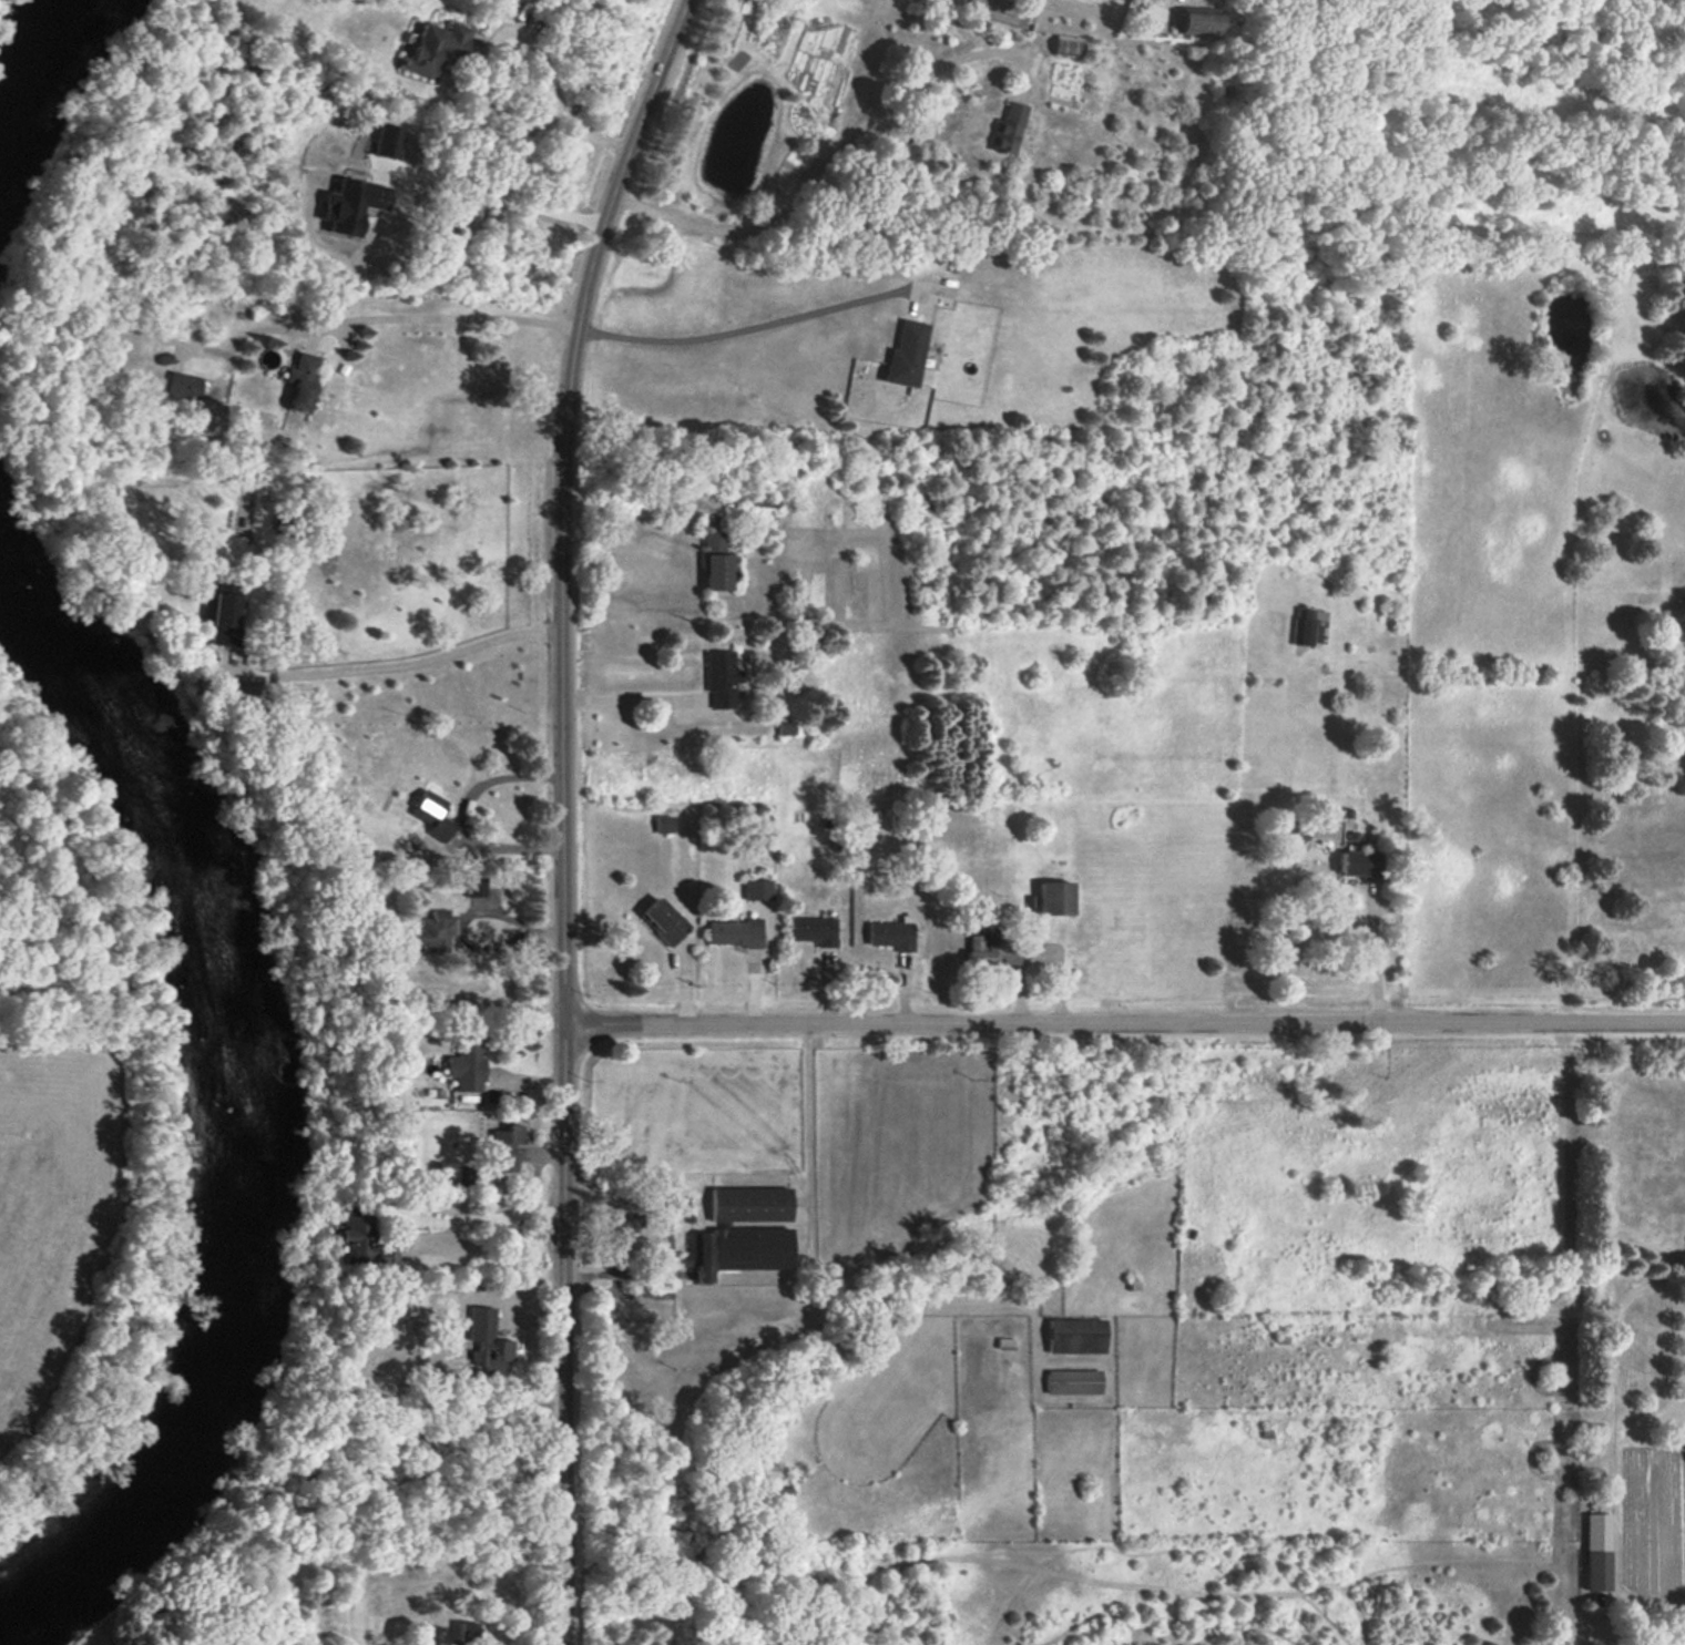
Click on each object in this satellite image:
building: (1150, 16)
building: (1197, 22)
river: (22, 41)
building: (1066, 45)
building: (436, 48)
road: (473, 82)
building: (1009, 127)
road: (825, 164)
road: (491, 190)
road: (453, 318)
road: (755, 327)
building: (907, 354)
building: (302, 379)
building: (184, 386)
road: (636, 522)
building: (717, 562)
building: (225, 614)
building: (1311, 626)
road: (430, 661)
building: (723, 678)
road: (632, 698)
building: (786, 727)
road: (565, 813)
building: (432, 814)
building: (664, 822)
building: (1359, 864)
building: (474, 886)
building: (758, 889)
building: (1056, 898)
building: (664, 920)
building: (814, 930)
building: (433, 932)
building: (735, 932)
building: (891, 934)
building: (989, 949)
road: (1373, 959)
road: (1124, 1026)
building: (467, 1064)
river: (239, 1094)
building: (505, 1147)
building: (750, 1204)
road: (479, 1218)
building: (624, 1223)
building: (355, 1237)
building: (738, 1249)
building: (387, 1255)
building: (1076, 1335)
building: (493, 1352)
building: (1073, 1381)
building: (1596, 1551)
building: (467, 1631)

